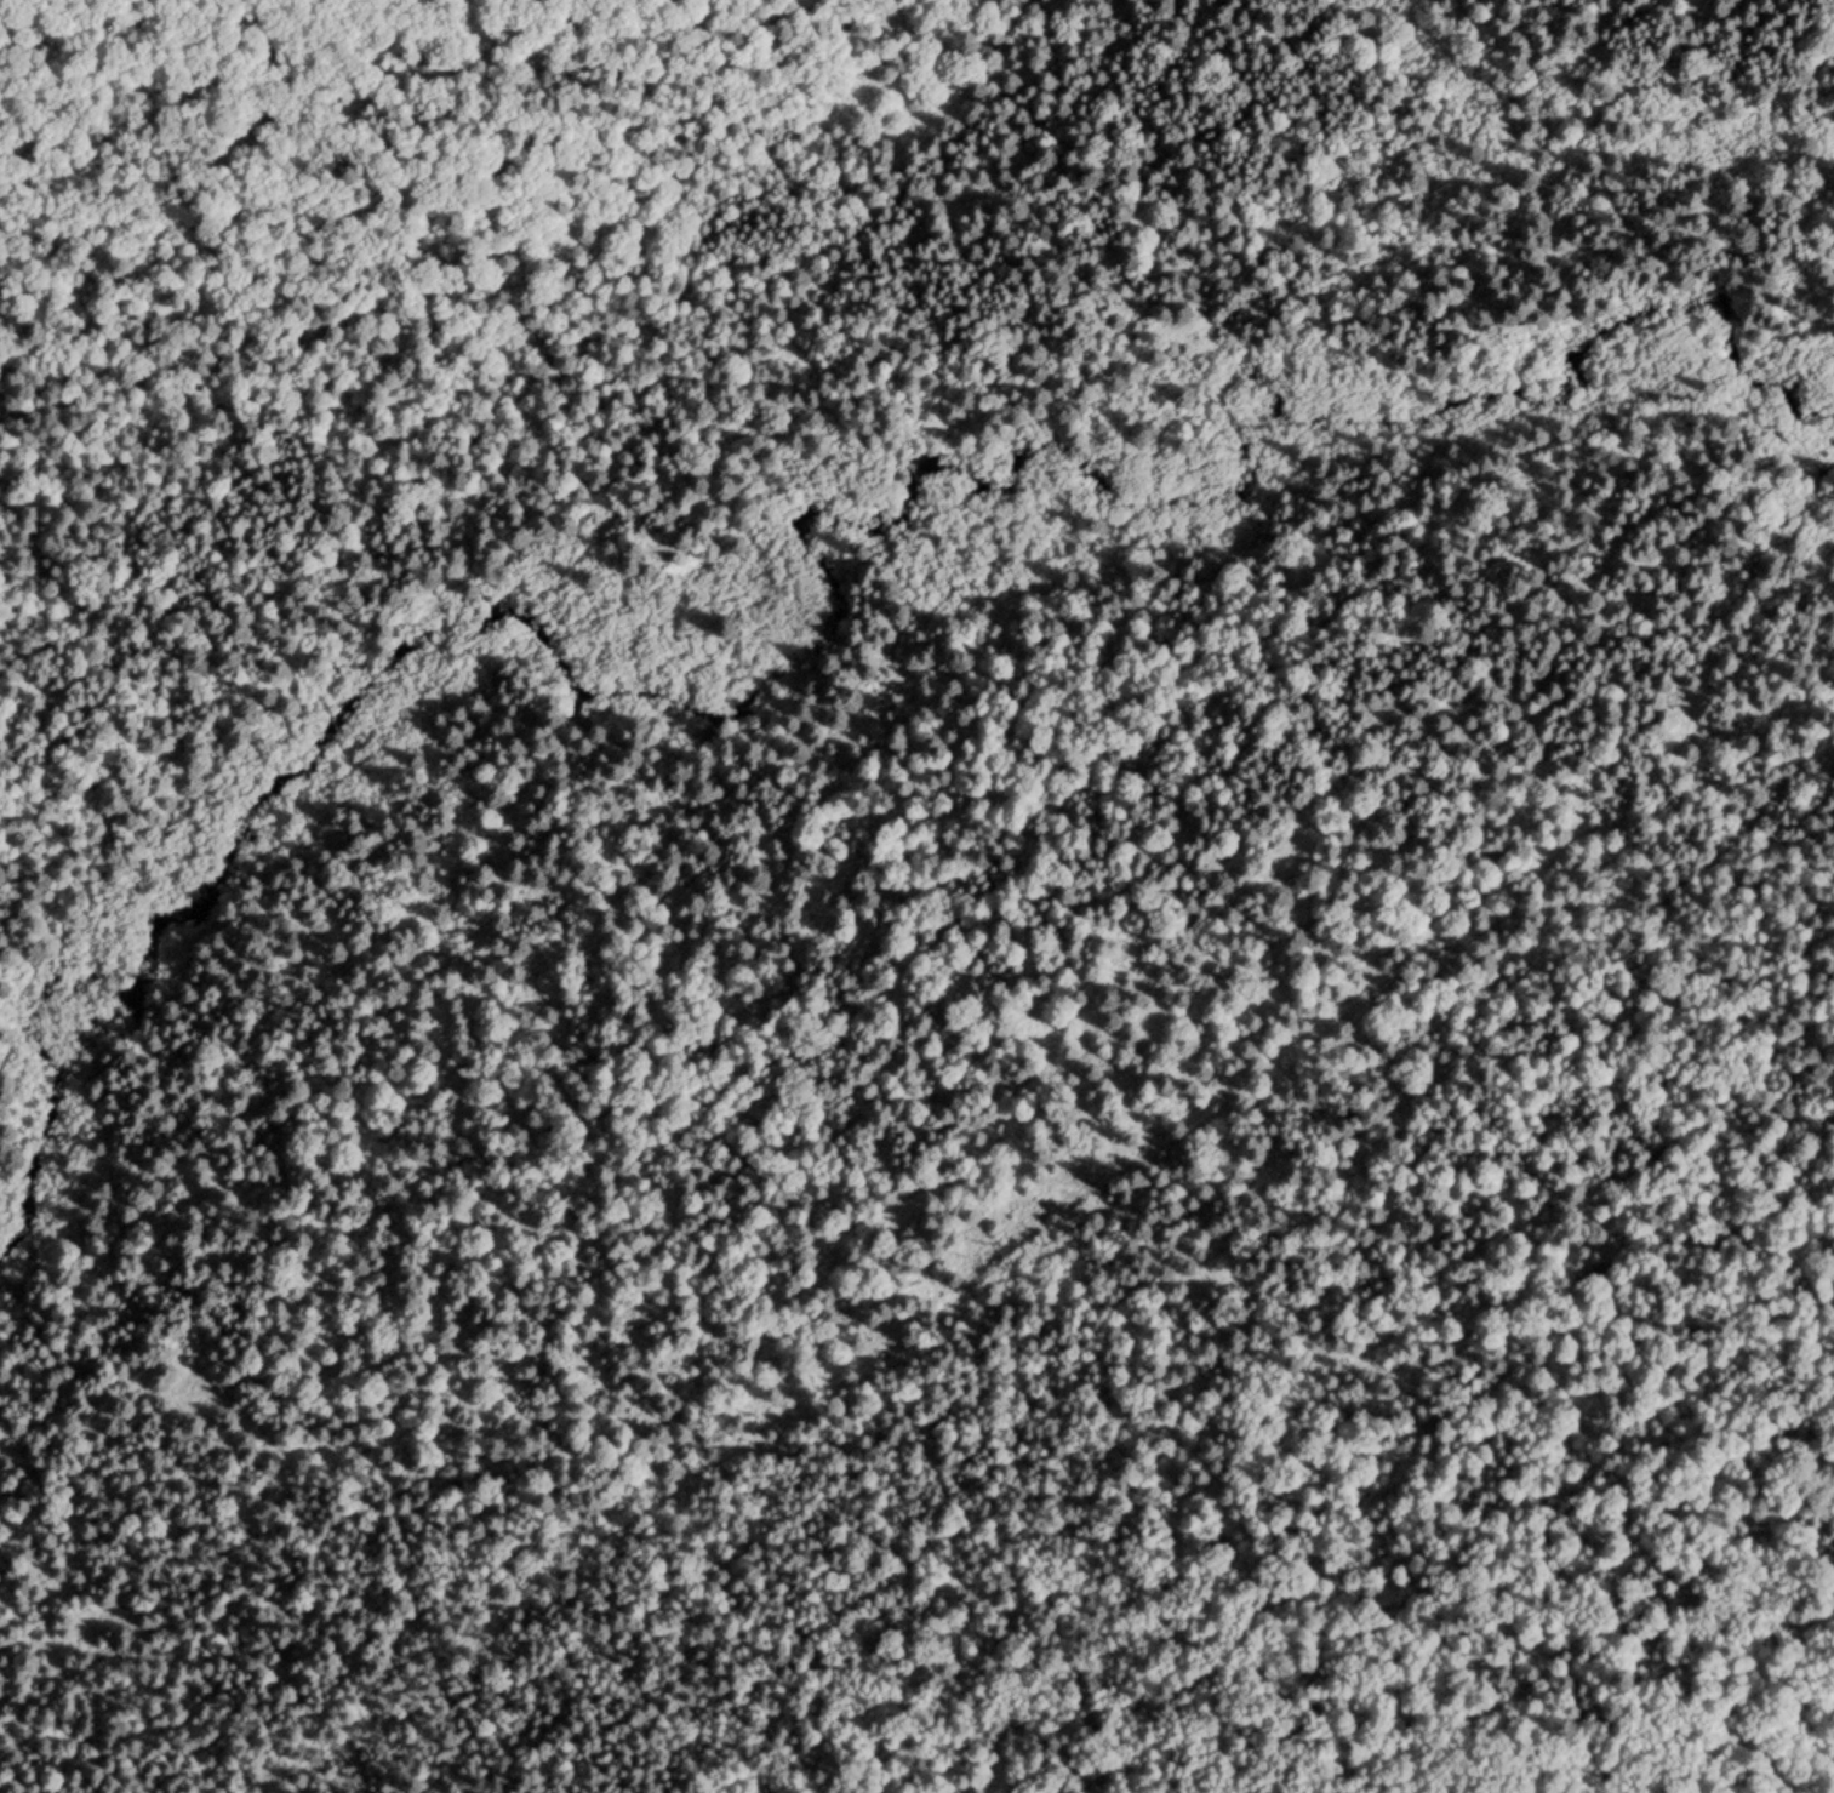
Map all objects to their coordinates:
road: (47, 1392)

